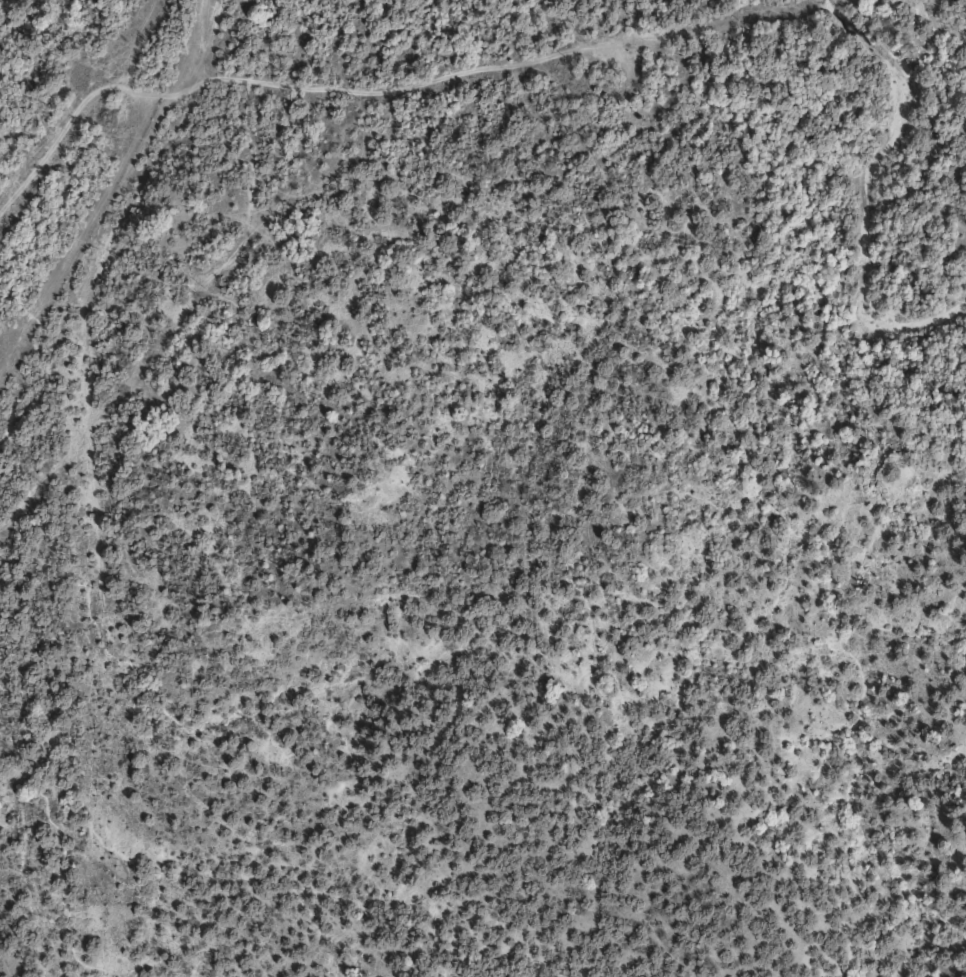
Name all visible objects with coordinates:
road: (430, 91)
road: (233, 104)
road: (150, 291)

